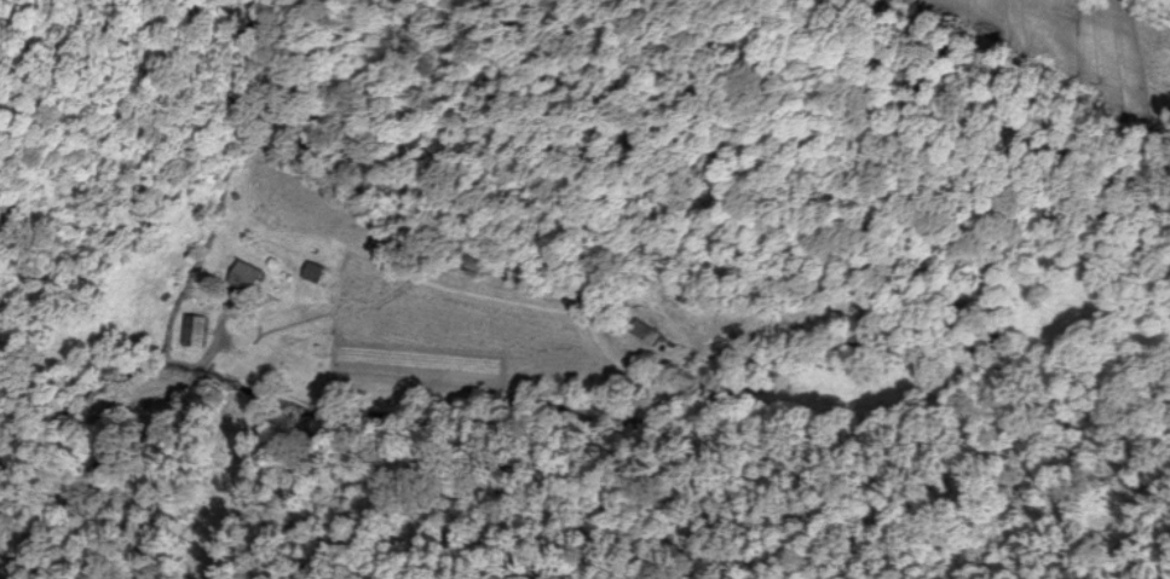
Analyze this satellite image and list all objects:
building: (322, 276)
building: (253, 279)
building: (202, 334)
building: (652, 335)

